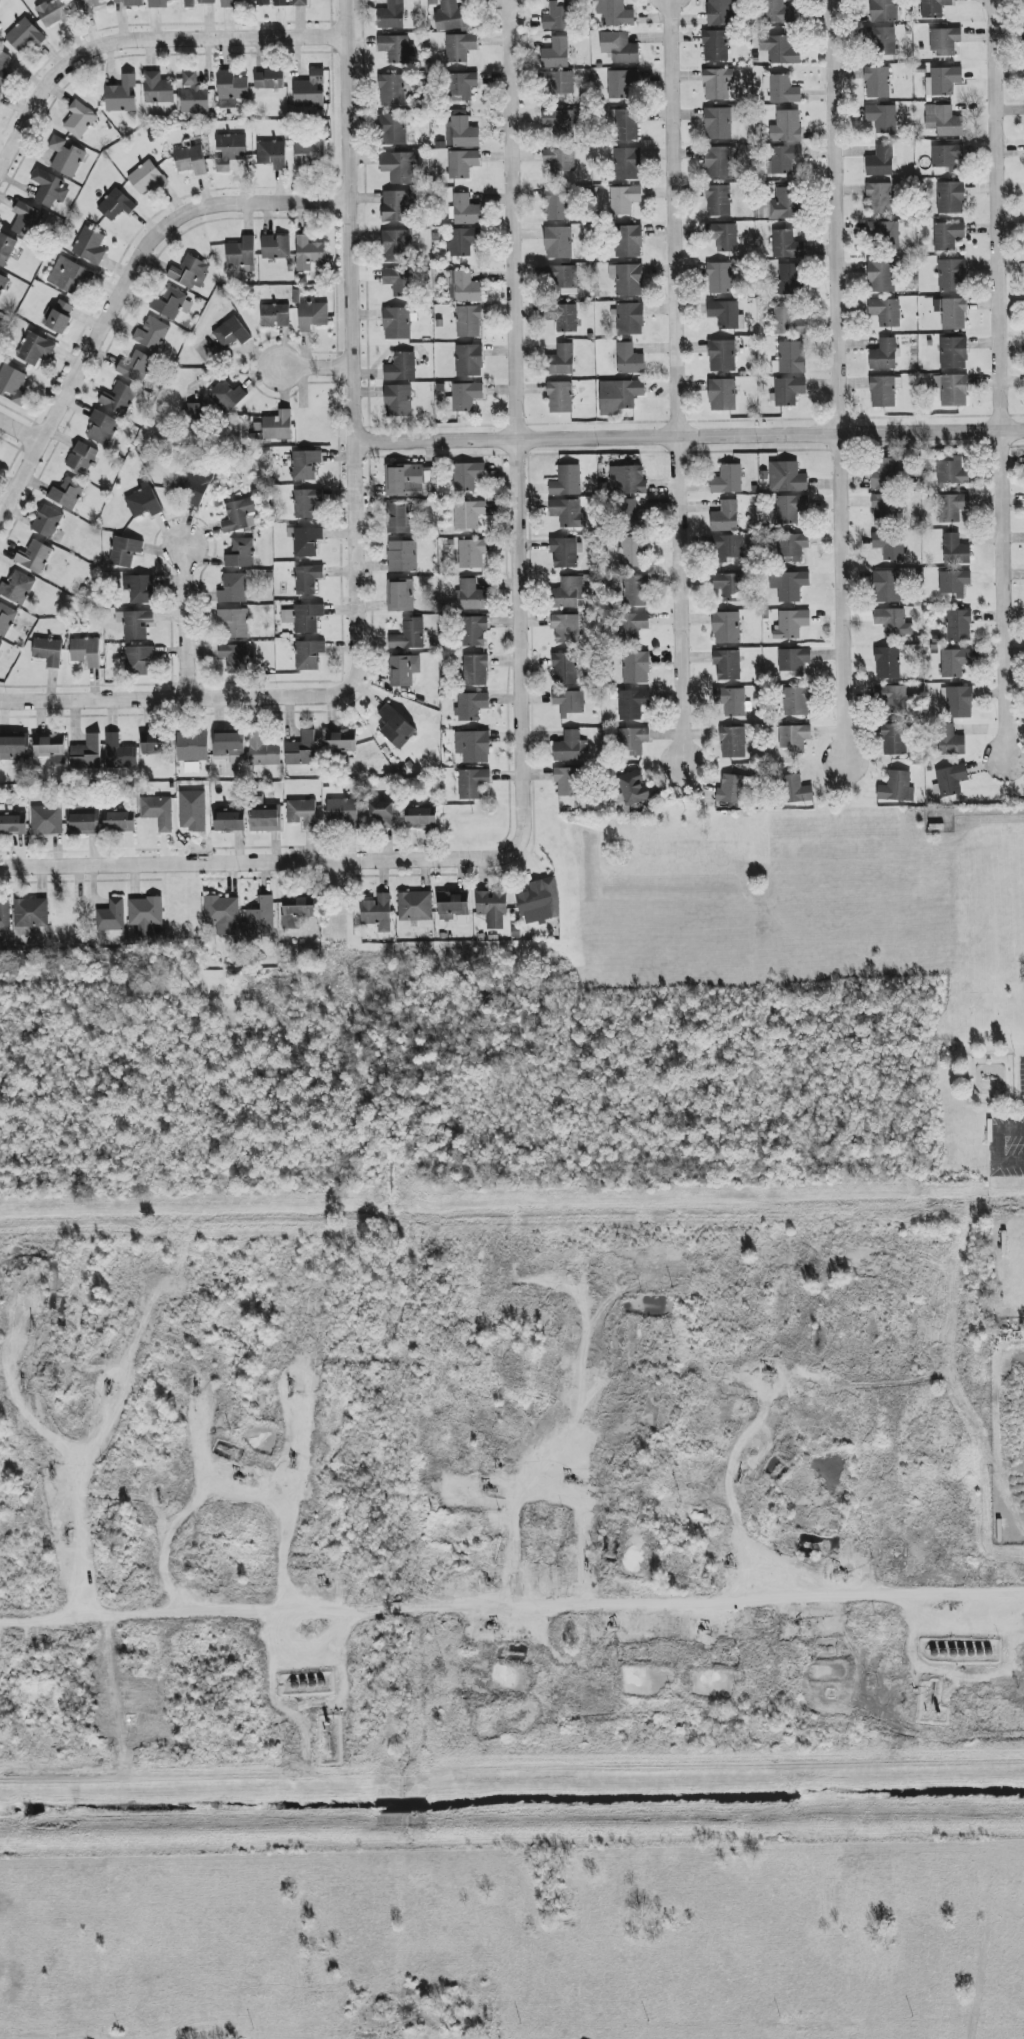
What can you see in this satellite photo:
building: (209, 1)
building: (129, 3)
building: (159, 3)
building: (229, 3)
building: (263, 3)
building: (280, 3)
building: (300, 3)
building: (190, 4)
building: (89, 6)
building: (934, 8)
building: (773, 11)
building: (884, 11)
building: (53, 13)
building: (615, 13)
building: (720, 13)
building: (391, 16)
building: (556, 16)
building: (451, 17)
building: (24, 35)
building: (881, 40)
building: (945, 41)
road: (141, 43)
building: (716, 46)
building: (460, 47)
building: (619, 47)
building: (396, 48)
building: (780, 49)
building: (556, 54)
building: (4, 64)
building: (269, 80)
building: (877, 82)
building: (558, 83)
building: (622, 84)
building: (718, 84)
building: (232, 86)
building: (461, 86)
building: (157, 88)
building: (393, 89)
building: (781, 89)
building: (310, 91)
building: (0, 93)
building: (121, 95)
building: (193, 95)
building: (0, 103)
building: (882, 118)
building: (79, 120)
building: (557, 121)
building: (943, 121)
building: (718, 124)
building: (625, 125)
building: (786, 127)
building: (393, 129)
building: (461, 131)
building: (230, 151)
building: (308, 153)
building: (272, 154)
building: (947, 156)
building: (66, 157)
building: (191, 160)
building: (560, 160)
building: (783, 160)
building: (718, 162)
building: (880, 162)
building: (462, 164)
building: (627, 164)
building: (399, 167)
building: (147, 178)
building: (49, 188)
building: (951, 198)
building: (624, 199)
building: (879, 199)
building: (718, 201)
building: (784, 204)
building: (116, 205)
building: (556, 205)
building: (395, 207)
building: (465, 210)
building: (26, 220)
building: (885, 235)
building: (948, 236)
building: (725, 238)
building: (462, 241)
building: (628, 242)
building: (558, 243)
building: (786, 245)
building: (90, 246)
building: (395, 246)
building: (276, 247)
building: (6, 249)
building: (309, 253)
building: (242, 254)
building: (190, 273)
building: (69, 275)
building: (952, 275)
building: (881, 276)
building: (720, 278)
building: (562, 279)
building: (627, 279)
building: (790, 280)
building: (399, 281)
building: (3, 283)
building: (464, 287)
road: (124, 292)
building: (171, 303)
building: (886, 312)
building: (952, 313)
building: (725, 314)
building: (60, 316)
building: (275, 316)
building: (563, 317)
building: (629, 319)
building: (469, 321)
building: (787, 322)
building: (397, 324)
building: (231, 333)
building: (151, 334)
building: (36, 349)
building: (953, 353)
building: (884, 355)
building: (722, 356)
building: (790, 358)
building: (629, 359)
building: (469, 360)
building: (561, 360)
building: (136, 367)
building: (401, 367)
road: (354, 368)
road: (316, 369)
road: (998, 379)
road: (674, 382)
road: (836, 384)
building: (13, 385)
building: (952, 390)
building: (789, 391)
building: (883, 392)
building: (722, 395)
building: (227, 396)
building: (619, 396)
building: (464, 397)
building: (560, 397)
building: (120, 400)
building: (398, 401)
building: (192, 413)
building: (278, 426)
building: (102, 428)
road: (514, 428)
road: (22, 430)
road: (690, 437)
building: (82, 458)
building: (305, 465)
building: (952, 472)
building: (884, 474)
building: (467, 476)
building: (786, 477)
building: (408, 480)
building: (627, 480)
building: (727, 480)
building: (566, 481)
building: (195, 483)
building: (68, 493)
building: (143, 502)
building: (307, 504)
building: (952, 507)
building: (790, 509)
building: (884, 509)
building: (568, 513)
building: (468, 514)
building: (238, 515)
building: (632, 516)
building: (725, 517)
building: (398, 518)
building: (47, 522)
building: (306, 542)
building: (889, 545)
building: (728, 547)
building: (791, 547)
building: (956, 550)
building: (125, 551)
building: (565, 552)
building: (633, 552)
building: (472, 553)
building: (241, 554)
building: (402, 556)
building: (34, 557)
building: (308, 579)
building: (954, 583)
building: (729, 586)
building: (789, 586)
building: (887, 587)
building: (17, 588)
building: (139, 589)
building: (233, 589)
building: (635, 591)
building: (568, 594)
building: (401, 595)
building: (471, 596)
building: (304, 617)
building: (6, 619)
building: (893, 622)
road: (183, 623)
building: (234, 623)
building: (135, 624)
building: (791, 624)
building: (632, 626)
building: (958, 626)
building: (566, 628)
building: (726, 628)
building: (473, 631)
building: (409, 635)
building: (0, 643)
building: (86, 651)
building: (48, 652)
building: (309, 655)
building: (235, 658)
building: (138, 660)
building: (794, 660)
building: (955, 662)
building: (887, 663)
building: (727, 665)
building: (636, 668)
building: (566, 669)
building: (404, 670)
building: (475, 670)
road: (155, 699)
building: (891, 699)
building: (733, 701)
building: (796, 701)
building: (569, 702)
building: (958, 702)
building: (632, 704)
building: (471, 706)
building: (396, 727)
building: (794, 737)
building: (341, 740)
building: (893, 740)
building: (950, 740)
building: (632, 741)
building: (732, 742)
building: (157, 747)
building: (473, 747)
building: (570, 747)
building: (14, 748)
building: (51, 748)
building: (192, 750)
building: (302, 750)
building: (263, 751)
building: (87, 753)
building: (120, 753)
building: (951, 780)
building: (568, 782)
building: (472, 783)
building: (633, 788)
building: (896, 788)
building: (734, 790)
building: (795, 790)
building: (342, 811)
building: (158, 812)
building: (302, 814)
building: (383, 814)
building: (421, 818)
building: (267, 819)
building: (46, 820)
building: (12, 822)
building: (120, 822)
building: (230, 822)
building: (83, 824)
road: (255, 866)
road: (341, 900)
building: (539, 902)
building: (415, 906)
building: (453, 907)
building: (492, 909)
building: (297, 911)
building: (378, 913)
building: (145, 914)
building: (5, 915)
building: (223, 915)
building: (30, 916)
building: (112, 916)
building: (260, 920)
road: (676, 1429)
road: (741, 1594)
road: (513, 2007)

